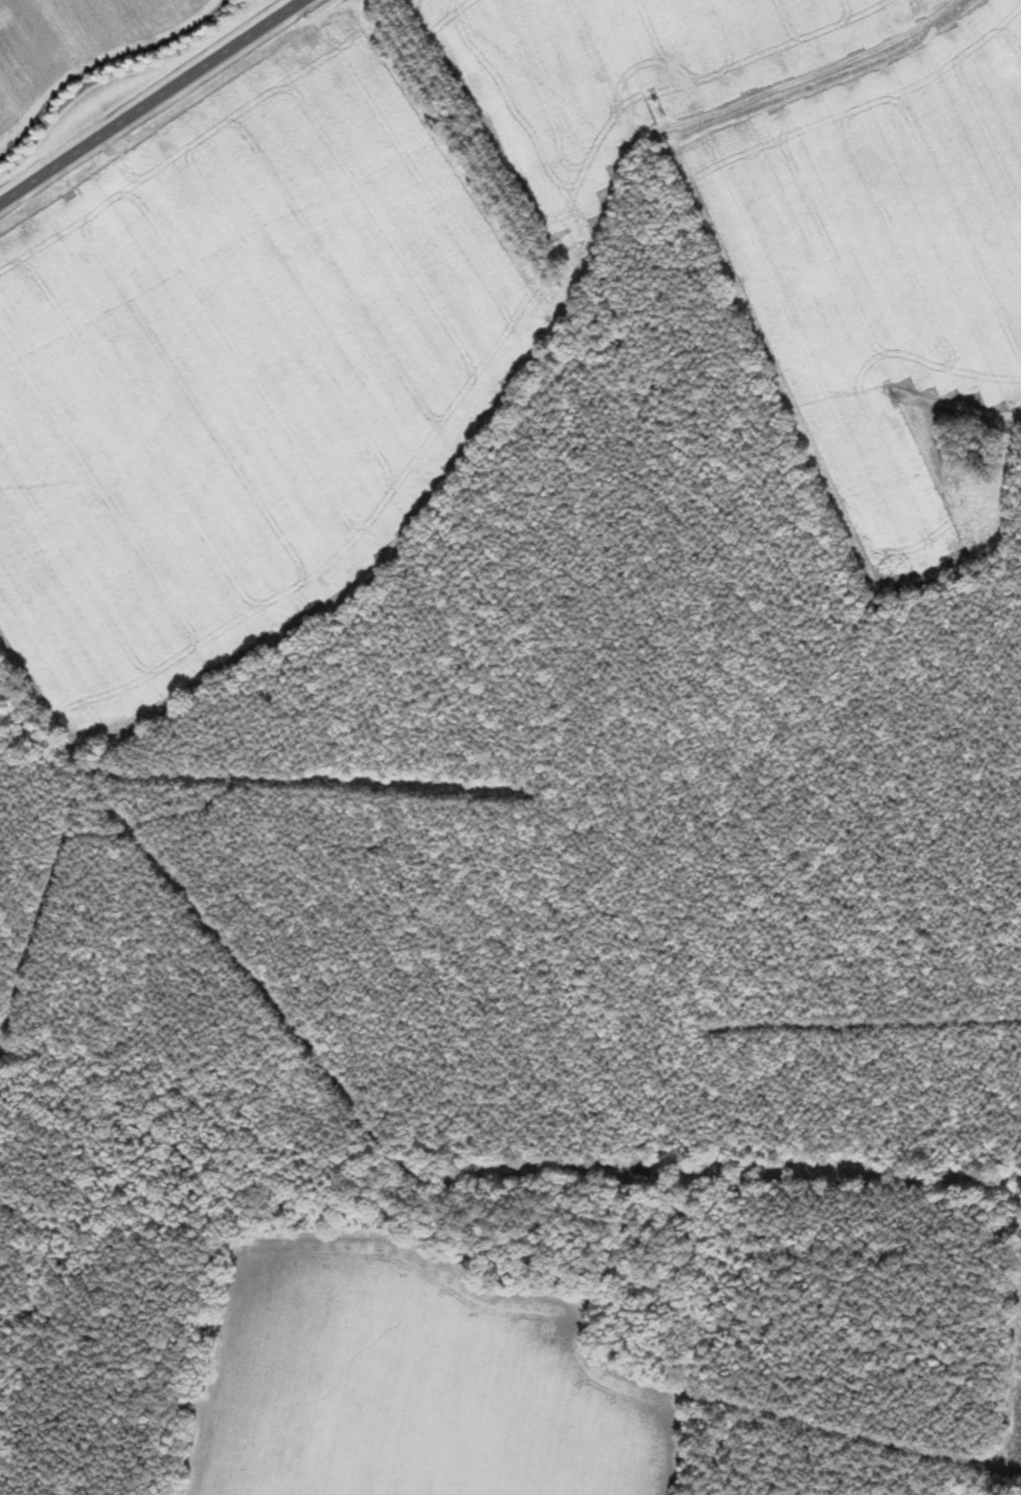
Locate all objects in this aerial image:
road: (151, 102)

